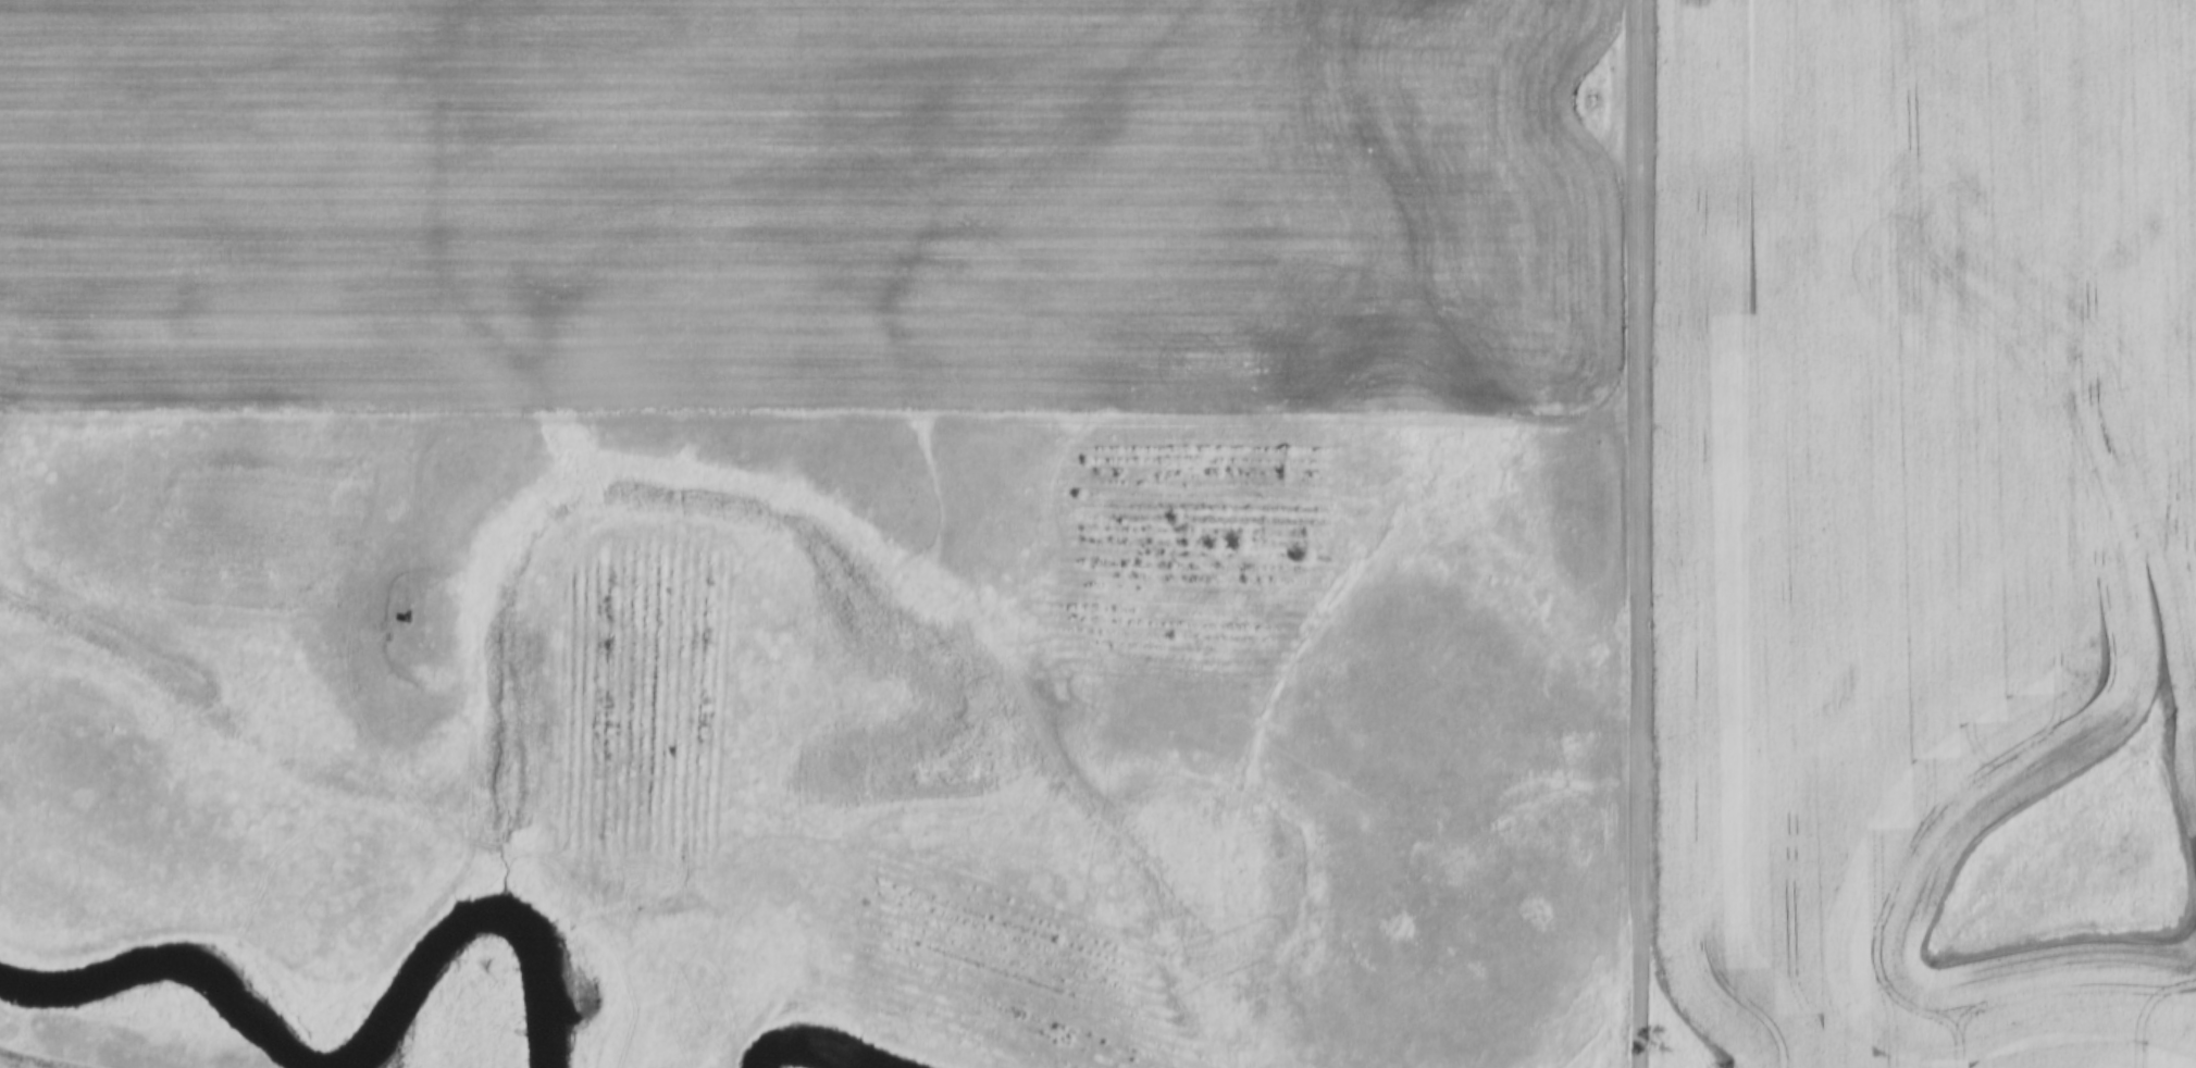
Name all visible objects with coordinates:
road: (1646, 534)
river: (821, 1045)
river: (342, 1058)

